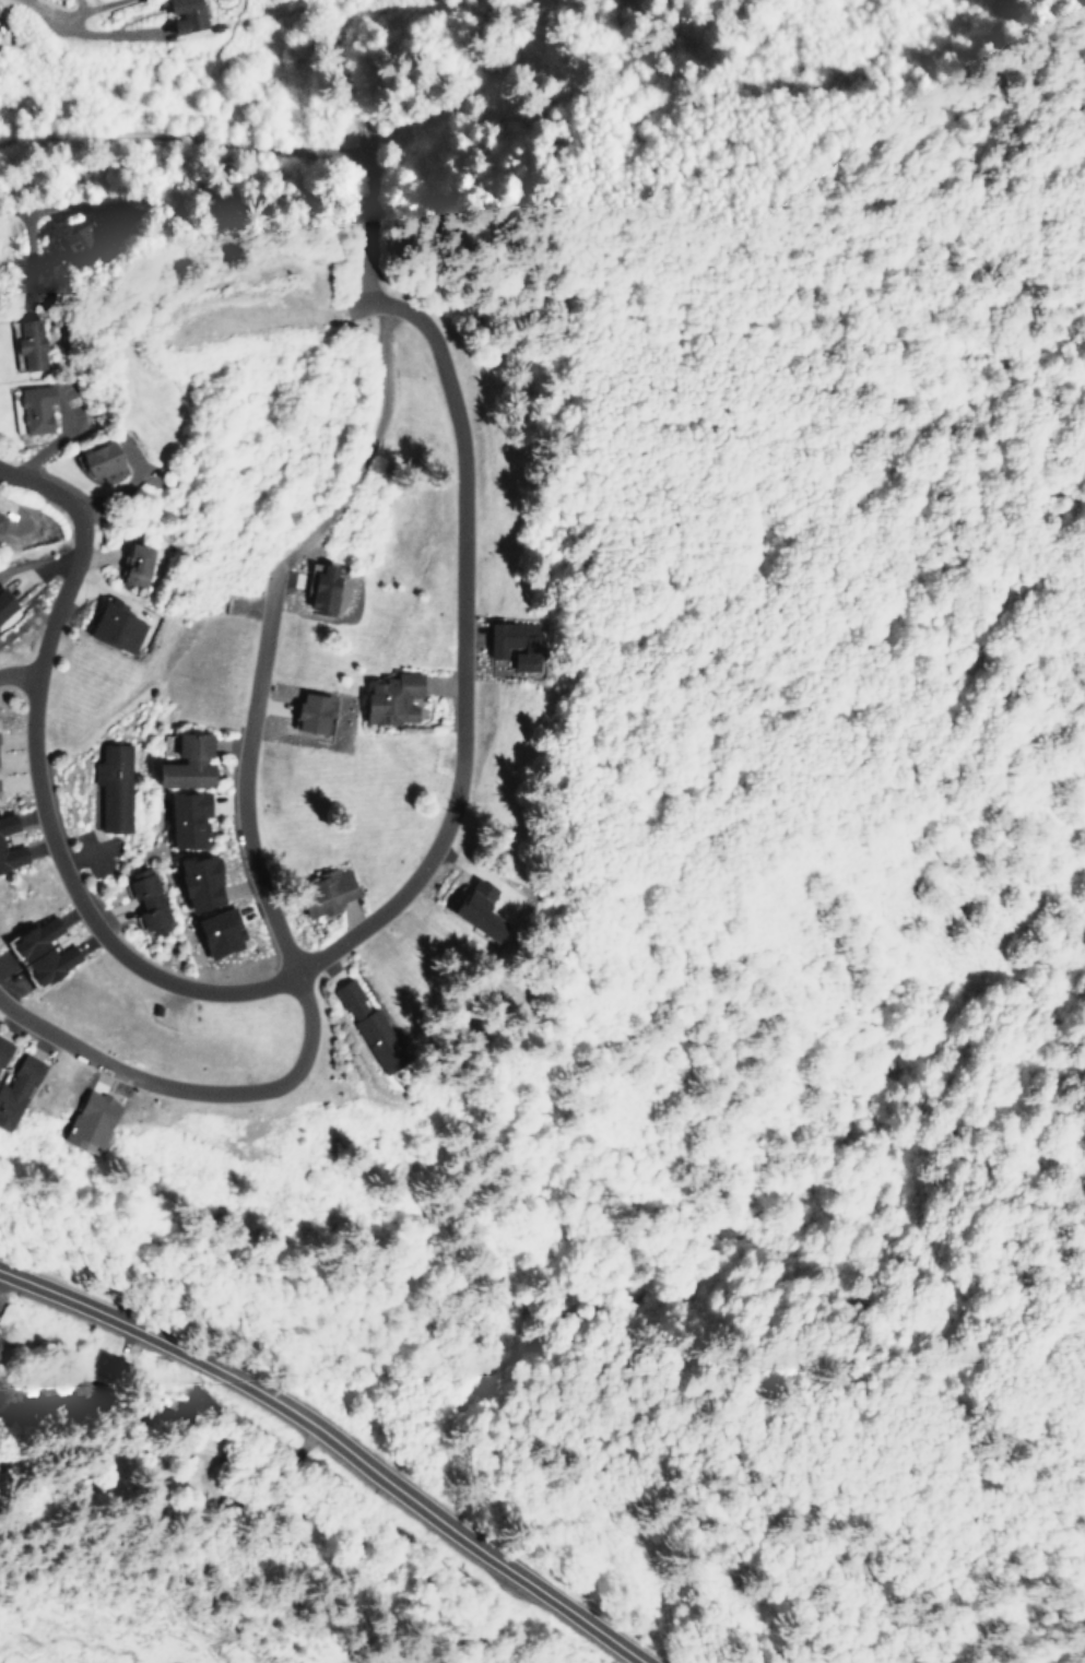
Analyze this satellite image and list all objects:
building: (185, 15)
road: (72, 20)
road: (1, 167)
building: (80, 240)
road: (416, 314)
building: (30, 342)
building: (31, 408)
building: (98, 459)
road: (35, 490)
building: (1, 515)
building: (135, 564)
building: (319, 586)
building: (114, 625)
road: (21, 676)
building: (389, 697)
building: (311, 711)
building: (185, 760)
building: (113, 786)
building: (0, 803)
building: (185, 817)
building: (5, 822)
road: (50, 833)
building: (10, 856)
building: (198, 881)
building: (326, 891)
building: (145, 898)
building: (473, 904)
building: (216, 931)
building: (38, 951)
building: (368, 1026)
building: (2, 1047)
road: (190, 1086)
building: (15, 1088)
building: (87, 1120)
road: (111, 1312)
building: (103, 1361)
road: (435, 1510)

